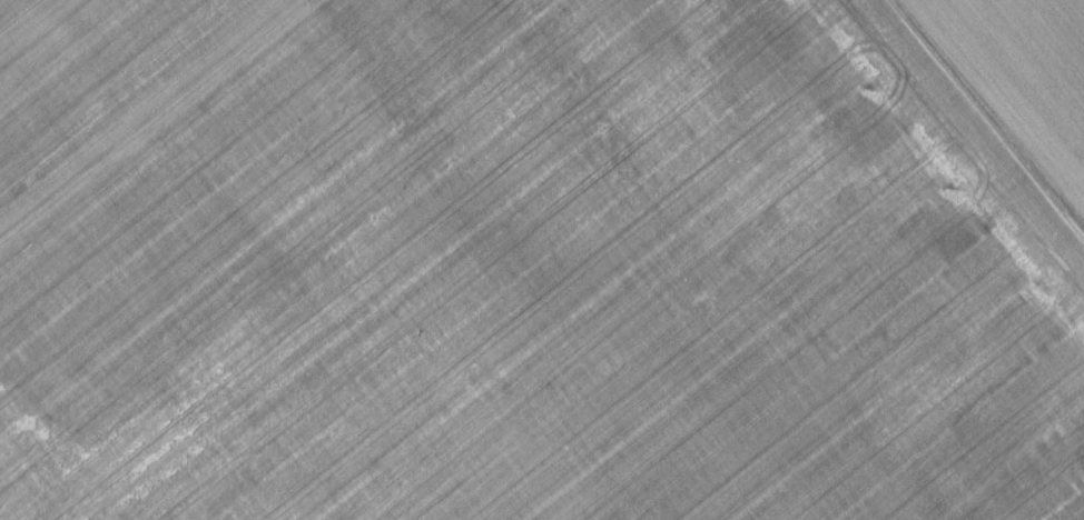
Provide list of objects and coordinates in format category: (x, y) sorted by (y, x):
road: (982, 127)

